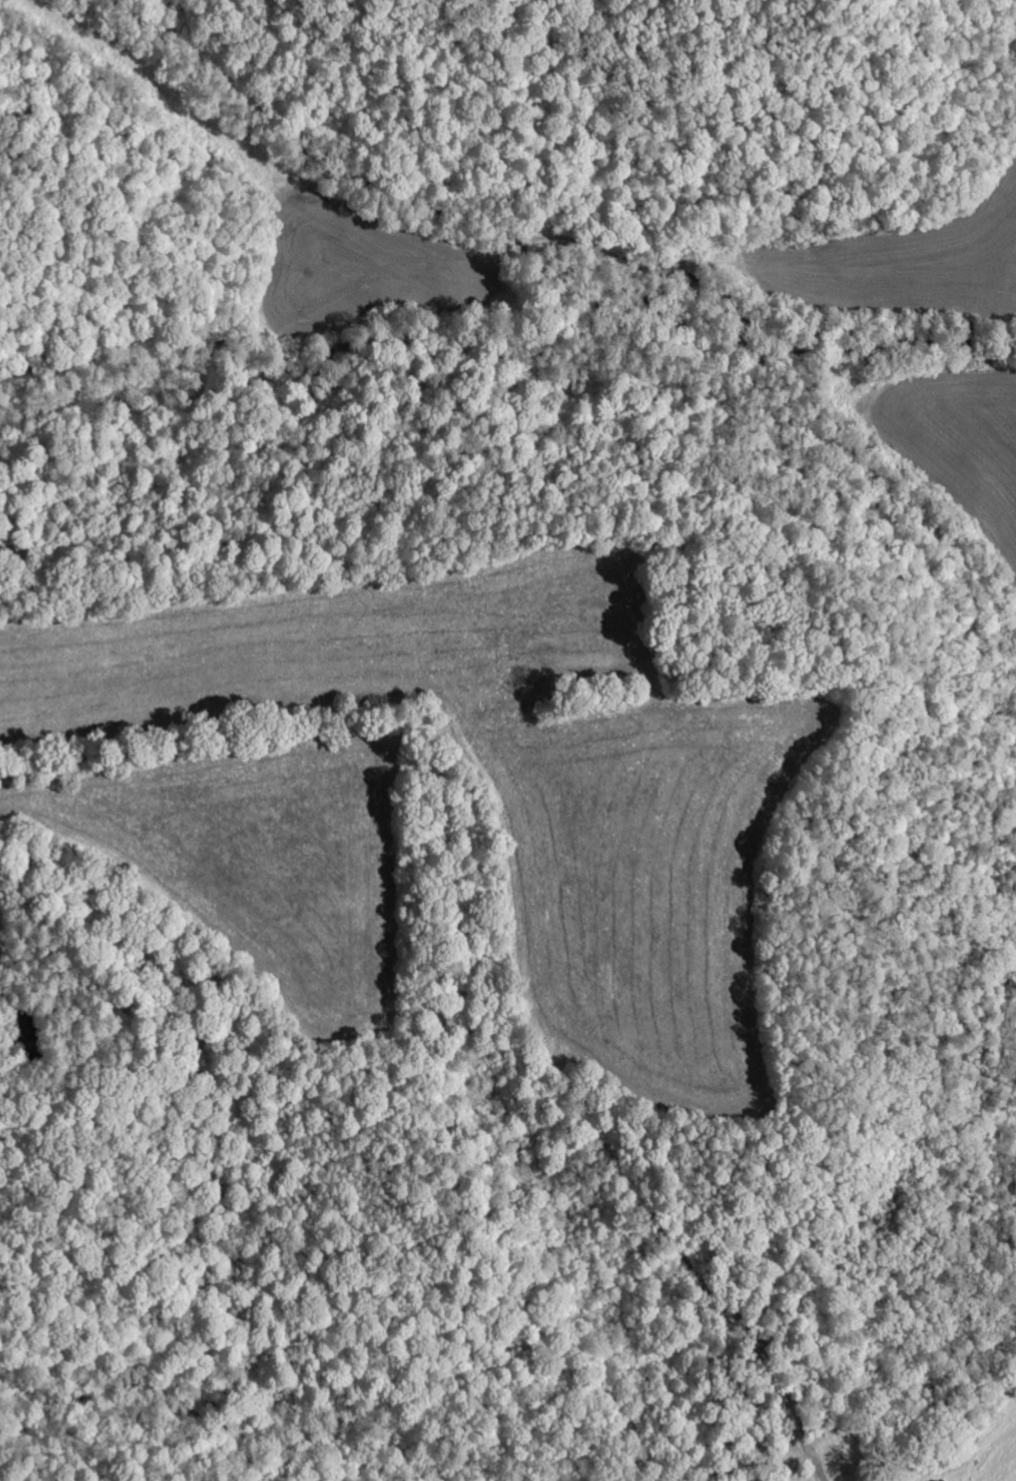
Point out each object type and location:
building: (943, 1480)

